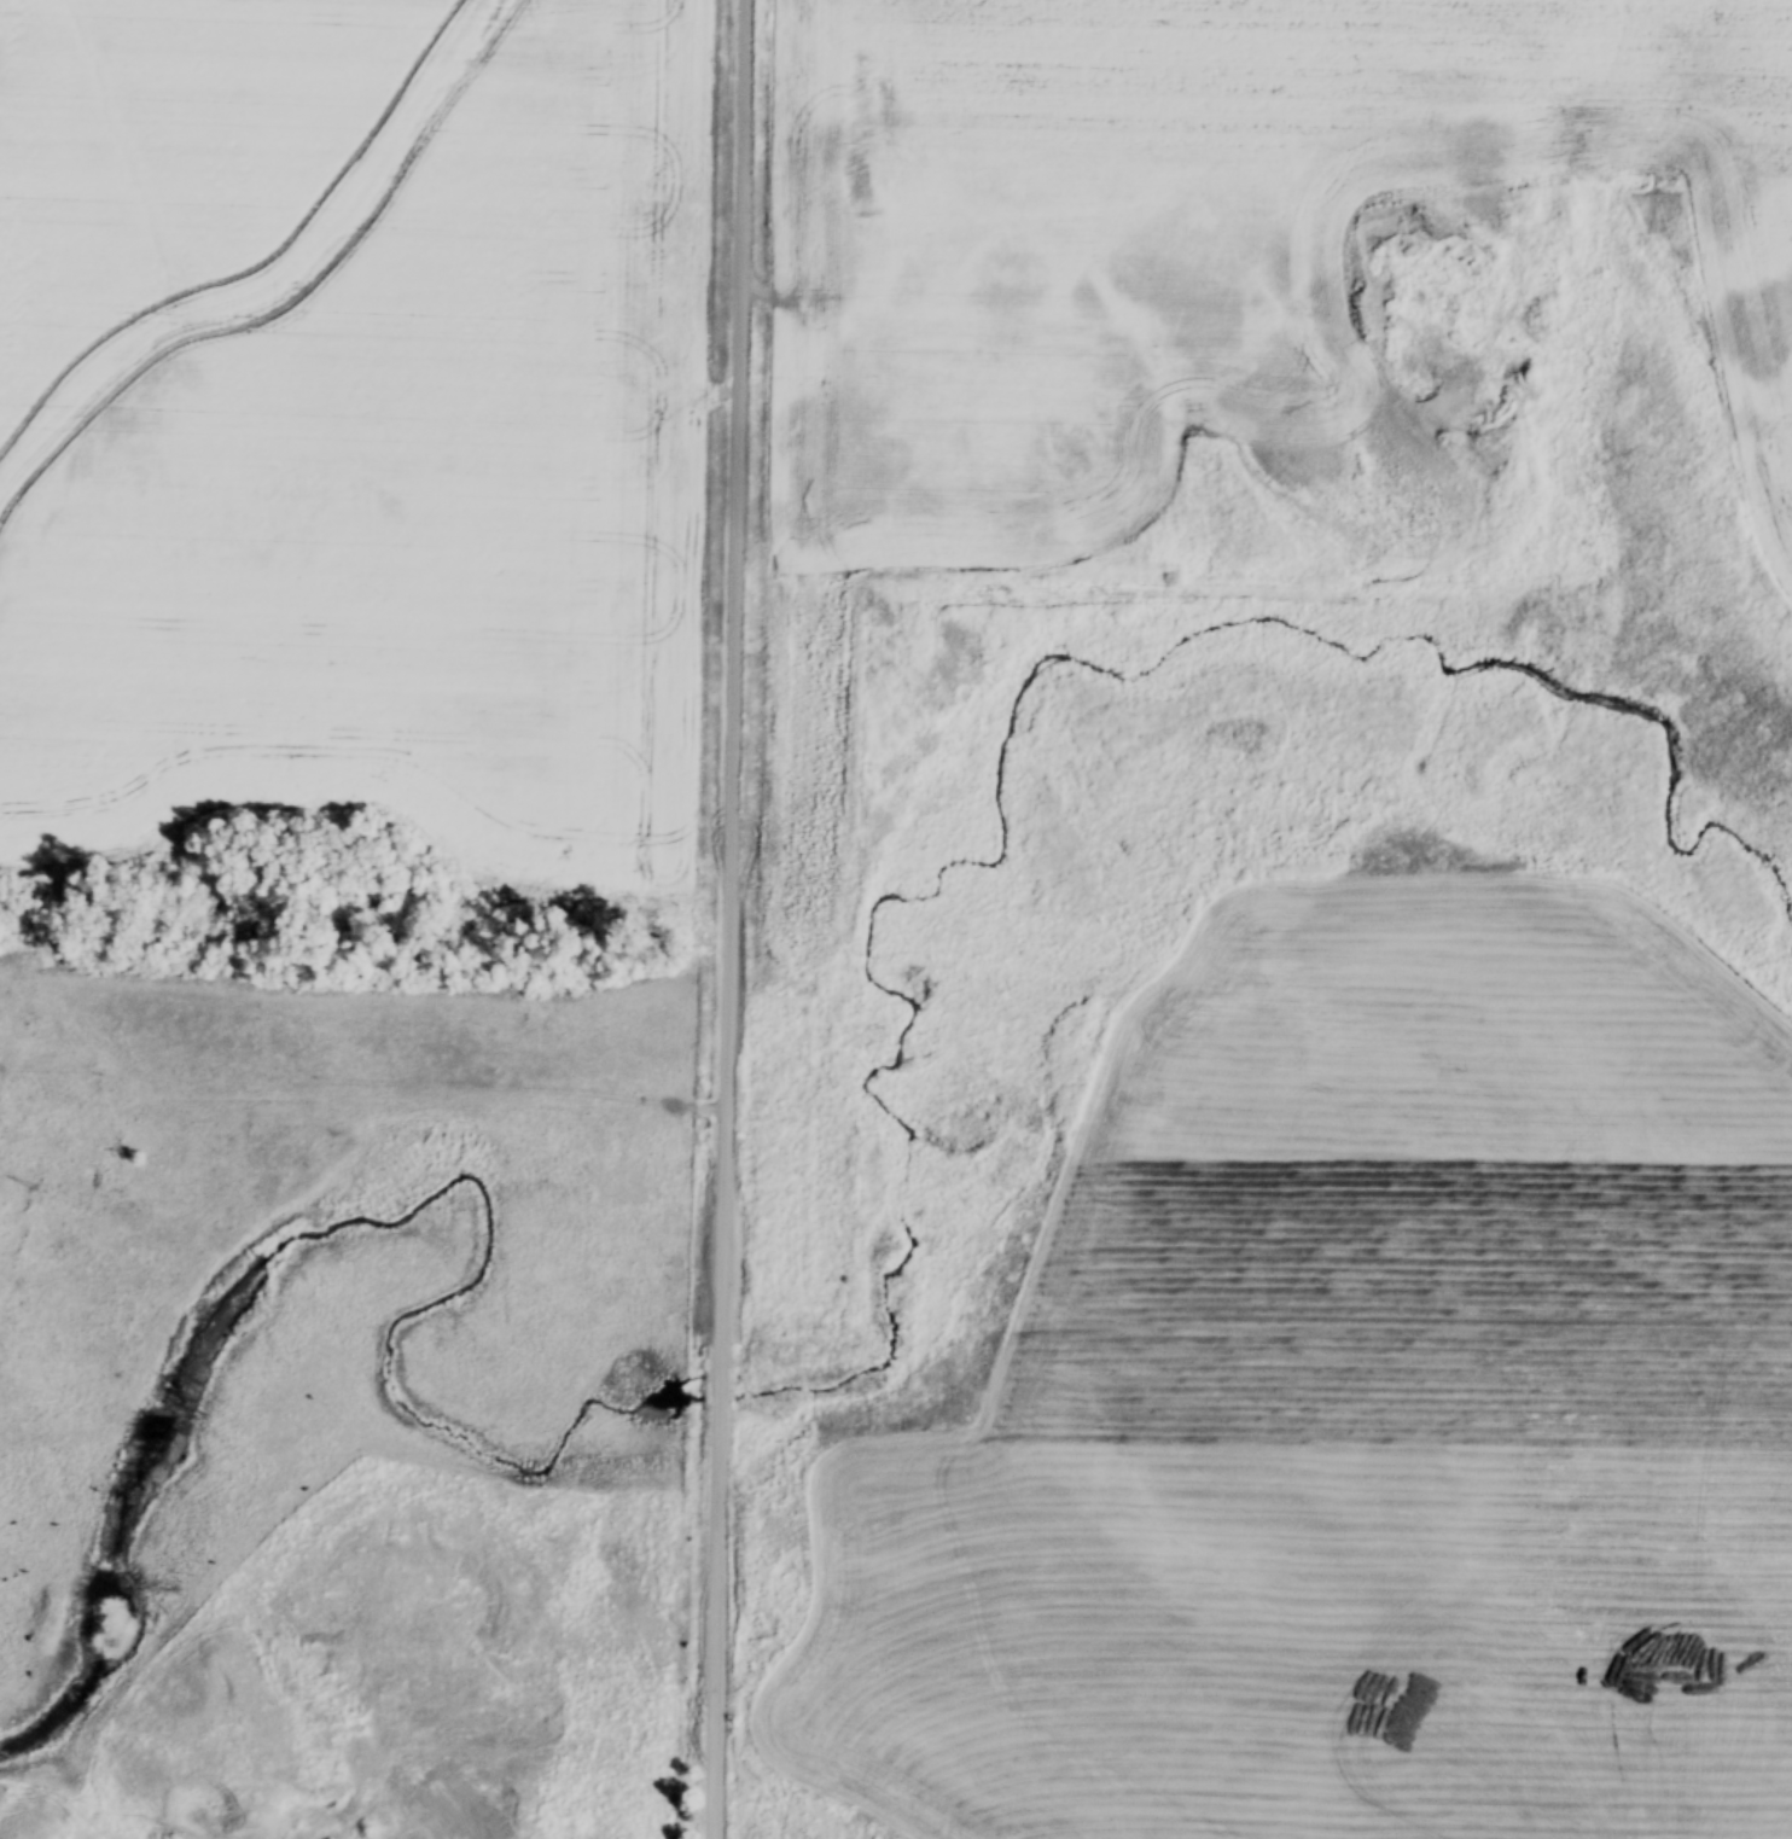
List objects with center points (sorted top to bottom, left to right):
road: (857, 919)

